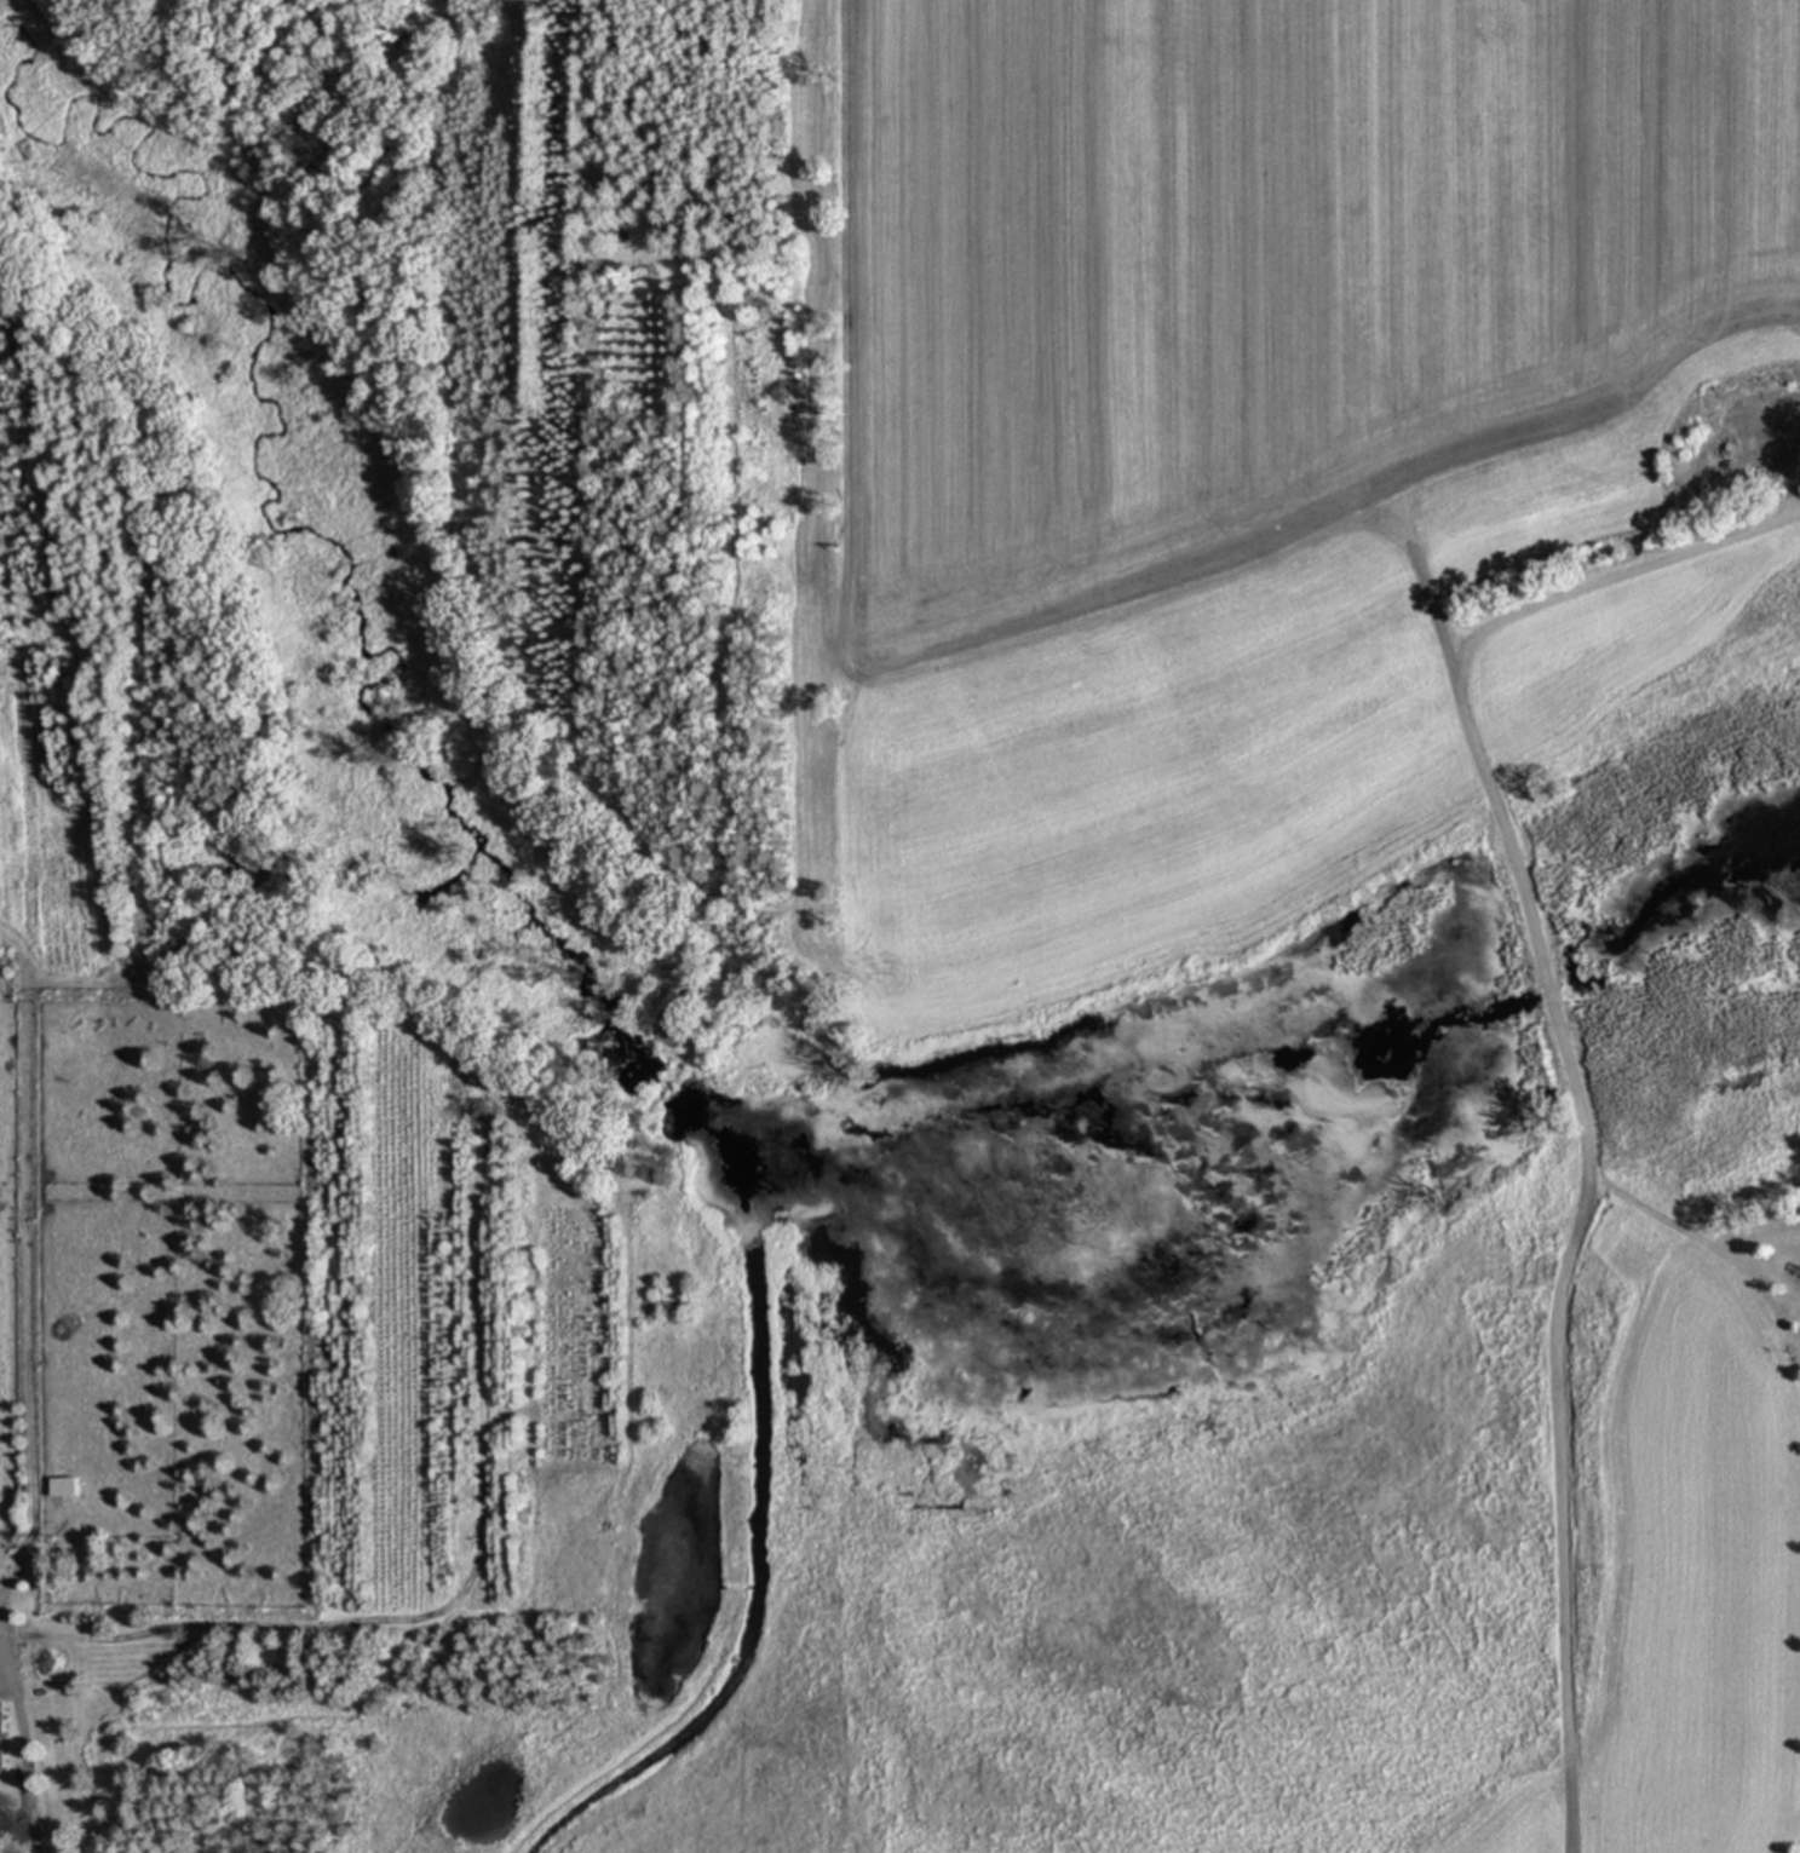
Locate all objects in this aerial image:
building: (63, 1485)
road: (23, 1740)
road: (1798, 1849)

